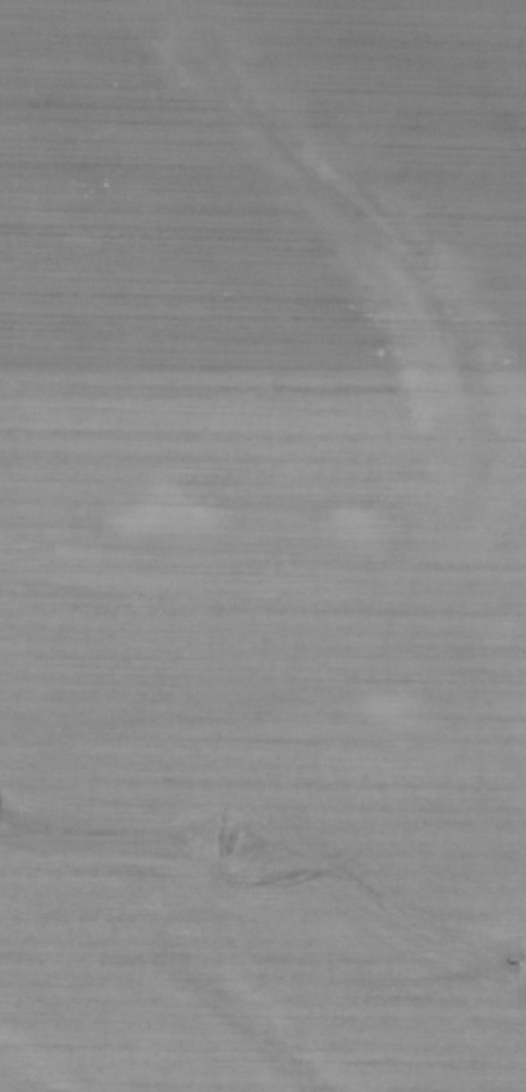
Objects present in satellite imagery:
crop: (262, 546)

